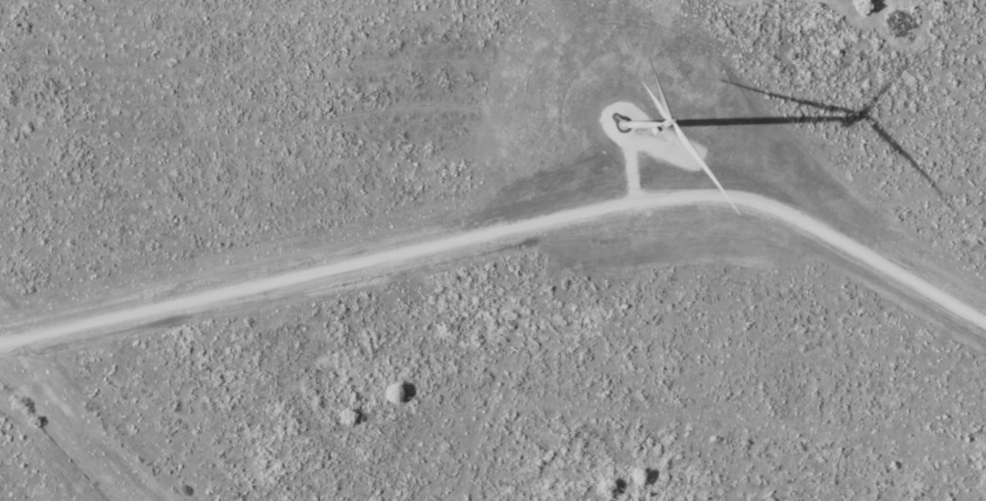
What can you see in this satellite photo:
wind turbine: (617, 114)

